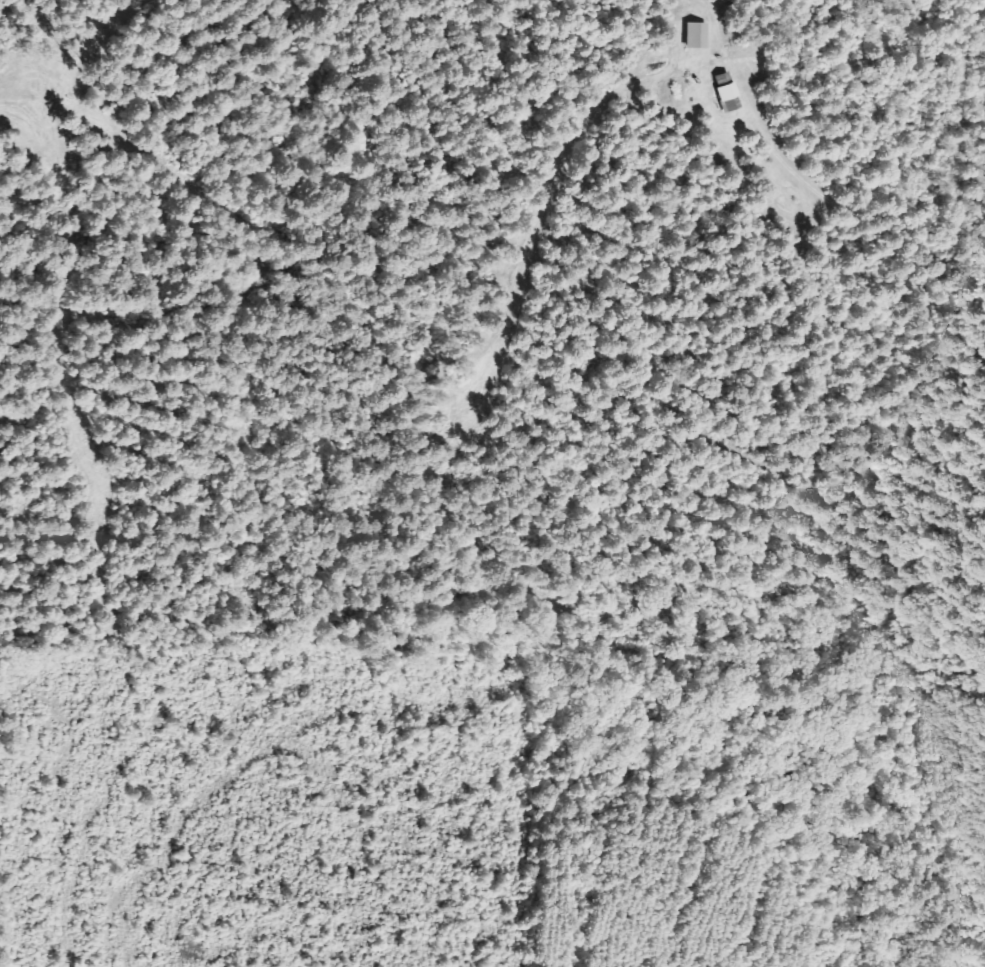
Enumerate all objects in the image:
building: (717, 80)
building: (723, 99)

